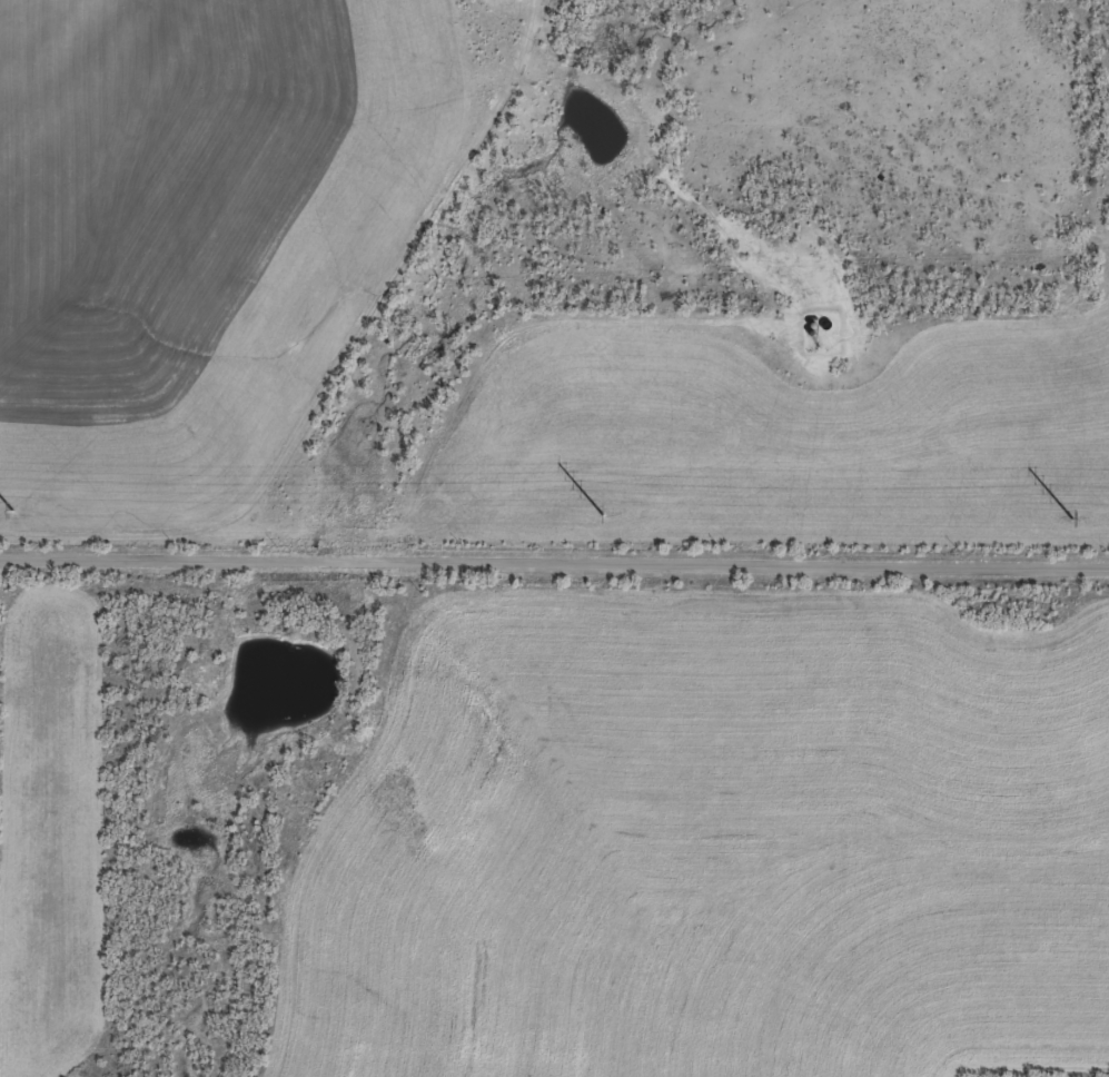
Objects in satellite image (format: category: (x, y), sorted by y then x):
power tower: (11, 512)
power tower: (602, 515)
power tower: (1072, 518)
road: (554, 554)

